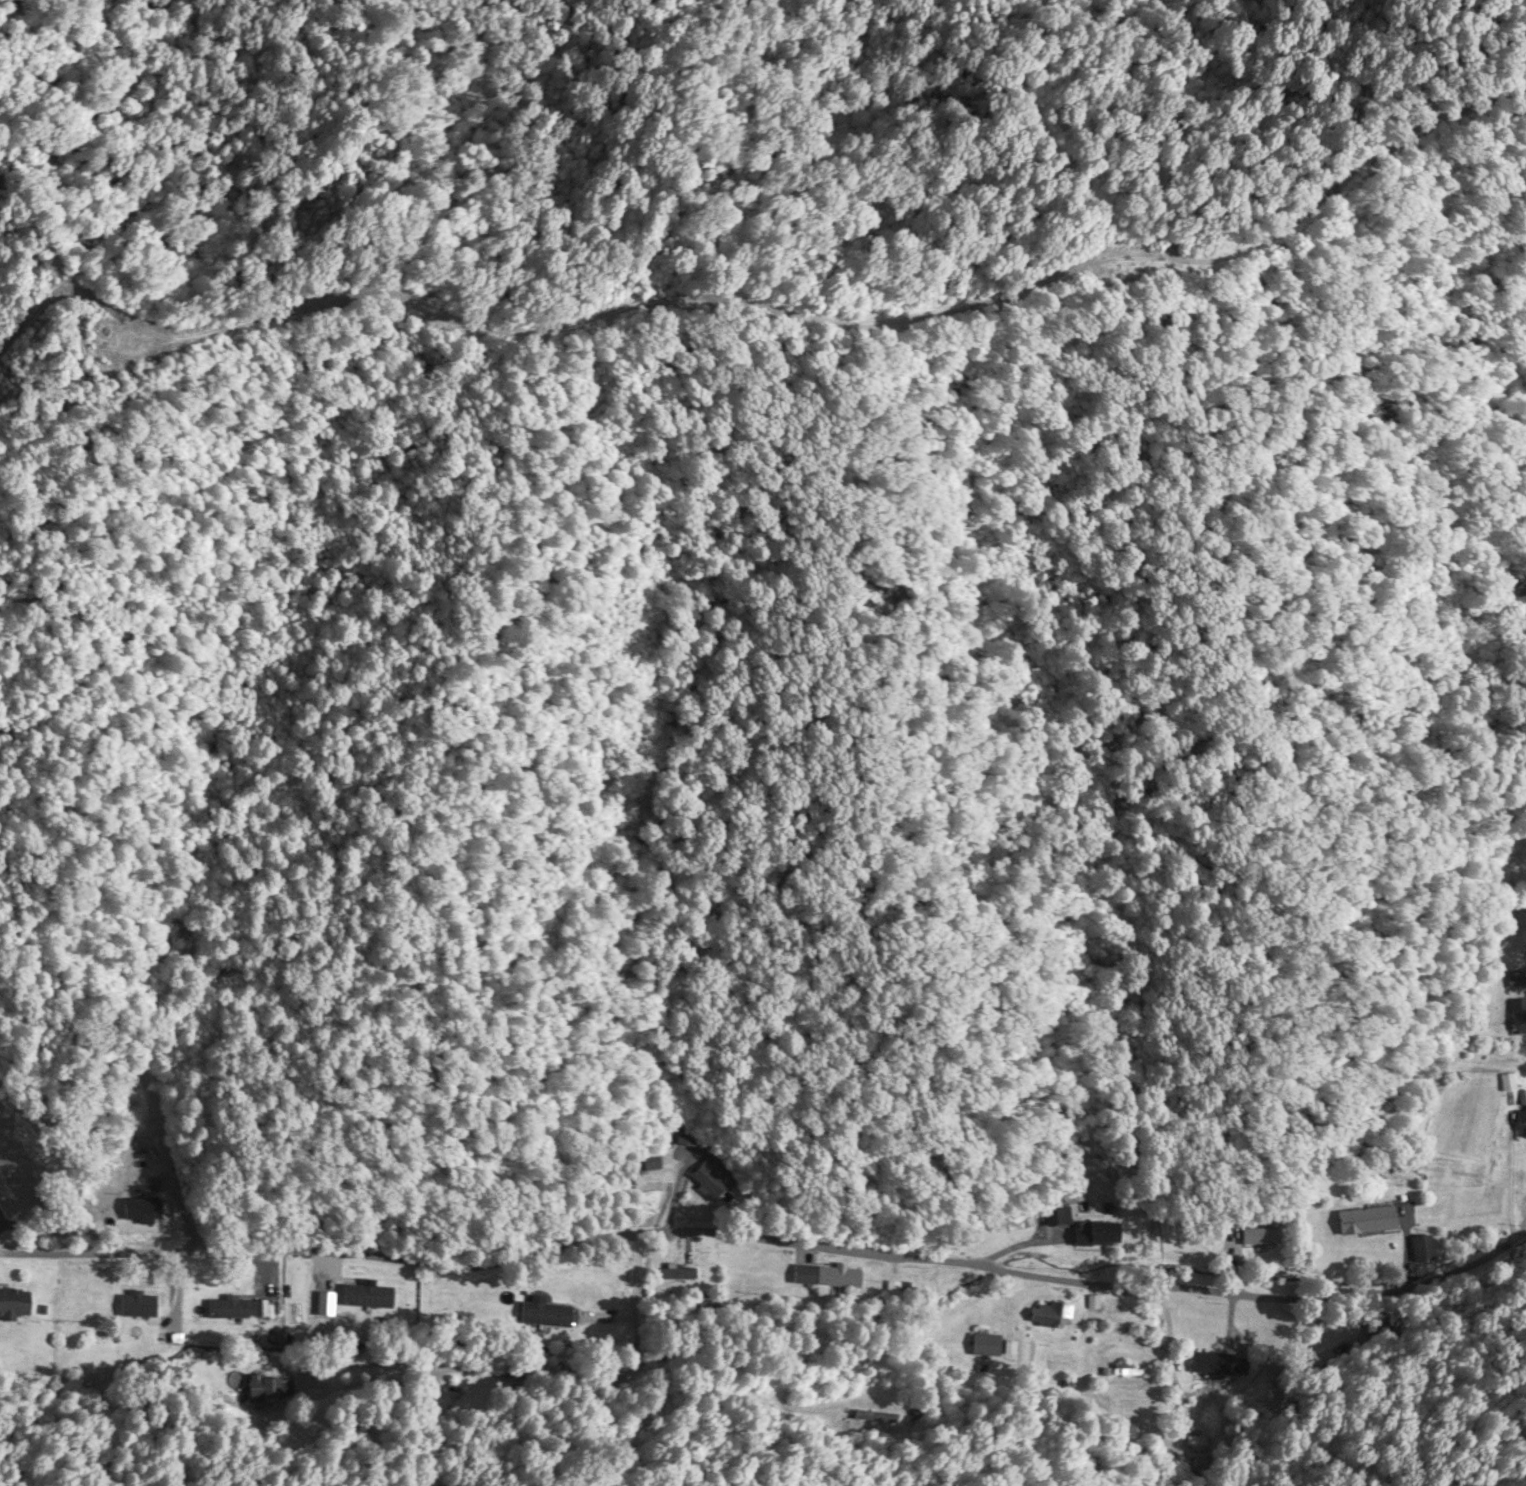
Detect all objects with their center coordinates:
building: (1519, 1017)
building: (690, 1136)
building: (712, 1177)
building: (1058, 1217)
building: (1369, 1220)
building: (1096, 1235)
building: (1260, 1236)
road: (771, 1240)
building: (1423, 1247)
building: (827, 1276)
building: (367, 1297)
building: (15, 1301)
building: (139, 1306)
building: (229, 1308)
building: (1217, 1364)

